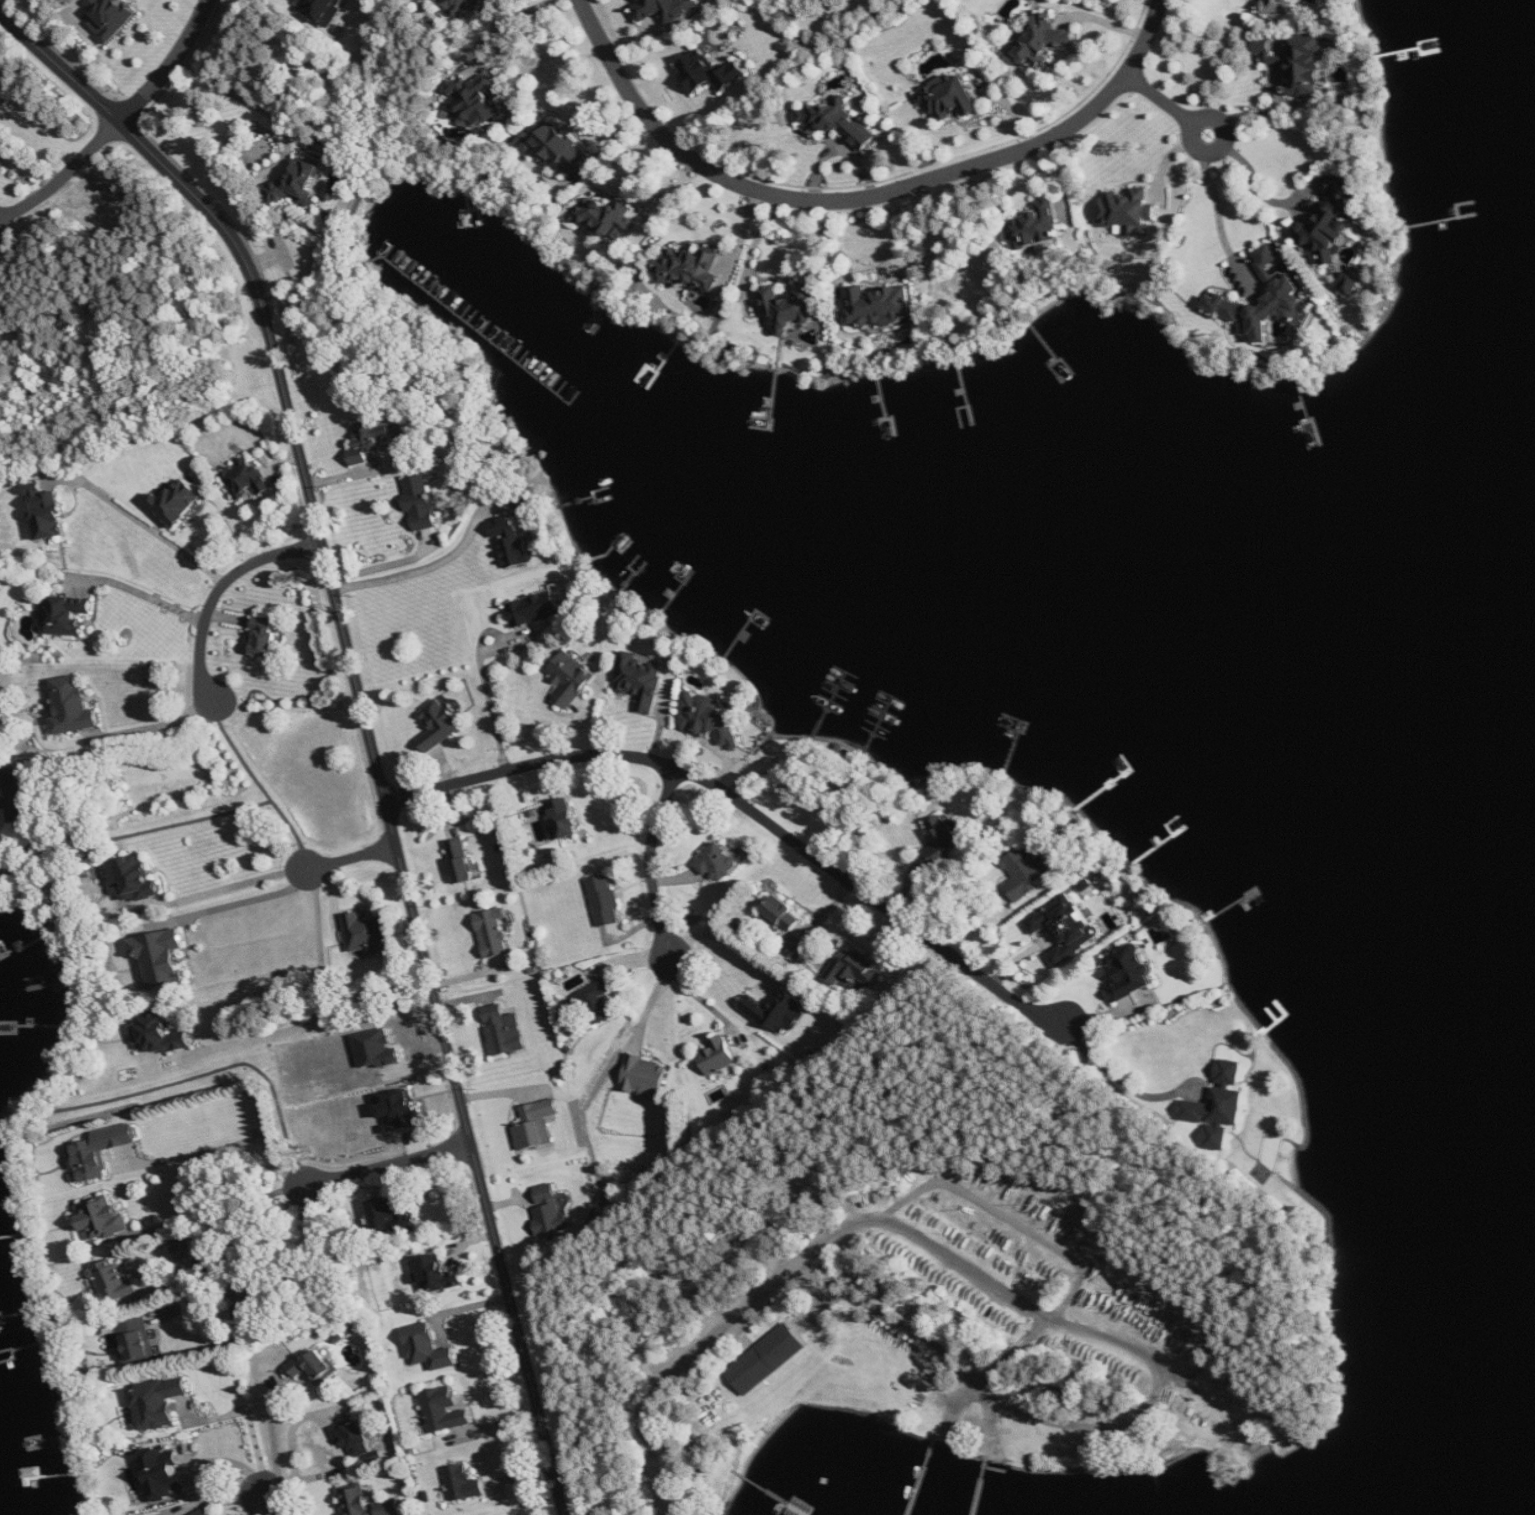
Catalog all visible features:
building: (461, 6)
building: (1279, 7)
building: (667, 9)
building: (326, 10)
building: (111, 17)
road: (508, 21)
building: (1042, 41)
building: (1303, 62)
road: (174, 66)
building: (709, 73)
building: (0, 76)
road: (247, 96)
building: (950, 97)
road: (1161, 99)
building: (472, 103)
building: (839, 123)
road: (1195, 125)
building: (556, 147)
road: (28, 162)
road: (65, 179)
building: (300, 185)
road: (865, 197)
road: (1277, 202)
building: (1130, 212)
road: (1221, 215)
building: (606, 218)
building: (1331, 221)
building: (1037, 229)
road: (755, 245)
road: (892, 250)
building: (692, 269)
building: (1265, 301)
building: (879, 306)
building: (790, 308)
building: (374, 440)
building: (248, 479)
building: (178, 502)
building: (421, 503)
building: (48, 512)
road: (233, 520)
road: (147, 524)
building: (513, 543)
road: (380, 566)
road: (426, 568)
road: (219, 590)
road: (153, 597)
building: (539, 609)
building: (66, 615)
building: (268, 638)
building: (572, 679)
building: (641, 683)
road: (481, 691)
building: (73, 707)
road: (366, 715)
building: (709, 717)
building: (440, 724)
road: (156, 726)
road: (154, 747)
road: (262, 786)
building: (19, 796)
road: (750, 810)
building: (565, 818)
road: (200, 819)
building: (944, 838)
road: (350, 858)
building: (461, 861)
road: (651, 861)
building: (720, 862)
building: (1026, 873)
building: (135, 879)
road: (236, 885)
building: (605, 901)
road: (245, 904)
building: (782, 914)
building: (1067, 928)
building: (494, 933)
building: (366, 934)
road: (719, 937)
building: (161, 957)
building: (854, 969)
building: (1130, 972)
road: (704, 1000)
building: (596, 1002)
road: (317, 1011)
building: (778, 1012)
building: (505, 1031)
building: (160, 1034)
building: (377, 1050)
building: (719, 1056)
road: (1115, 1075)
building: (645, 1077)
building: (1216, 1110)
building: (401, 1111)
building: (537, 1125)
road: (231, 1146)
building: (101, 1151)
road: (388, 1164)
road: (223, 1198)
building: (550, 1211)
building: (101, 1221)
road: (1022, 1228)
road: (246, 1238)
road: (921, 1239)
road: (318, 1249)
building: (186, 1250)
building: (439, 1275)
road: (782, 1276)
road: (812, 1277)
building: (114, 1283)
road: (1187, 1302)
road: (819, 1307)
building: (250, 1311)
road: (1043, 1325)
road: (910, 1327)
building: (139, 1343)
building: (781, 1343)
building: (428, 1348)
building: (315, 1367)
building: (751, 1368)
road: (667, 1378)
flagpole: (799, 1394)
road: (988, 1394)
building: (157, 1403)
road: (1151, 1405)
road: (1218, 1409)
building: (445, 1411)
road: (251, 1422)
road: (993, 1428)
building: (353, 1436)
road: (333, 1437)
road: (276, 1447)
building: (163, 1473)
pier: (921, 1477)
building: (463, 1484)
pier: (823, 1484)
pier: (982, 1484)
pier: (782, 1499)
building: (366, 1502)
road: (277, 1504)
building: (202, 1513)

